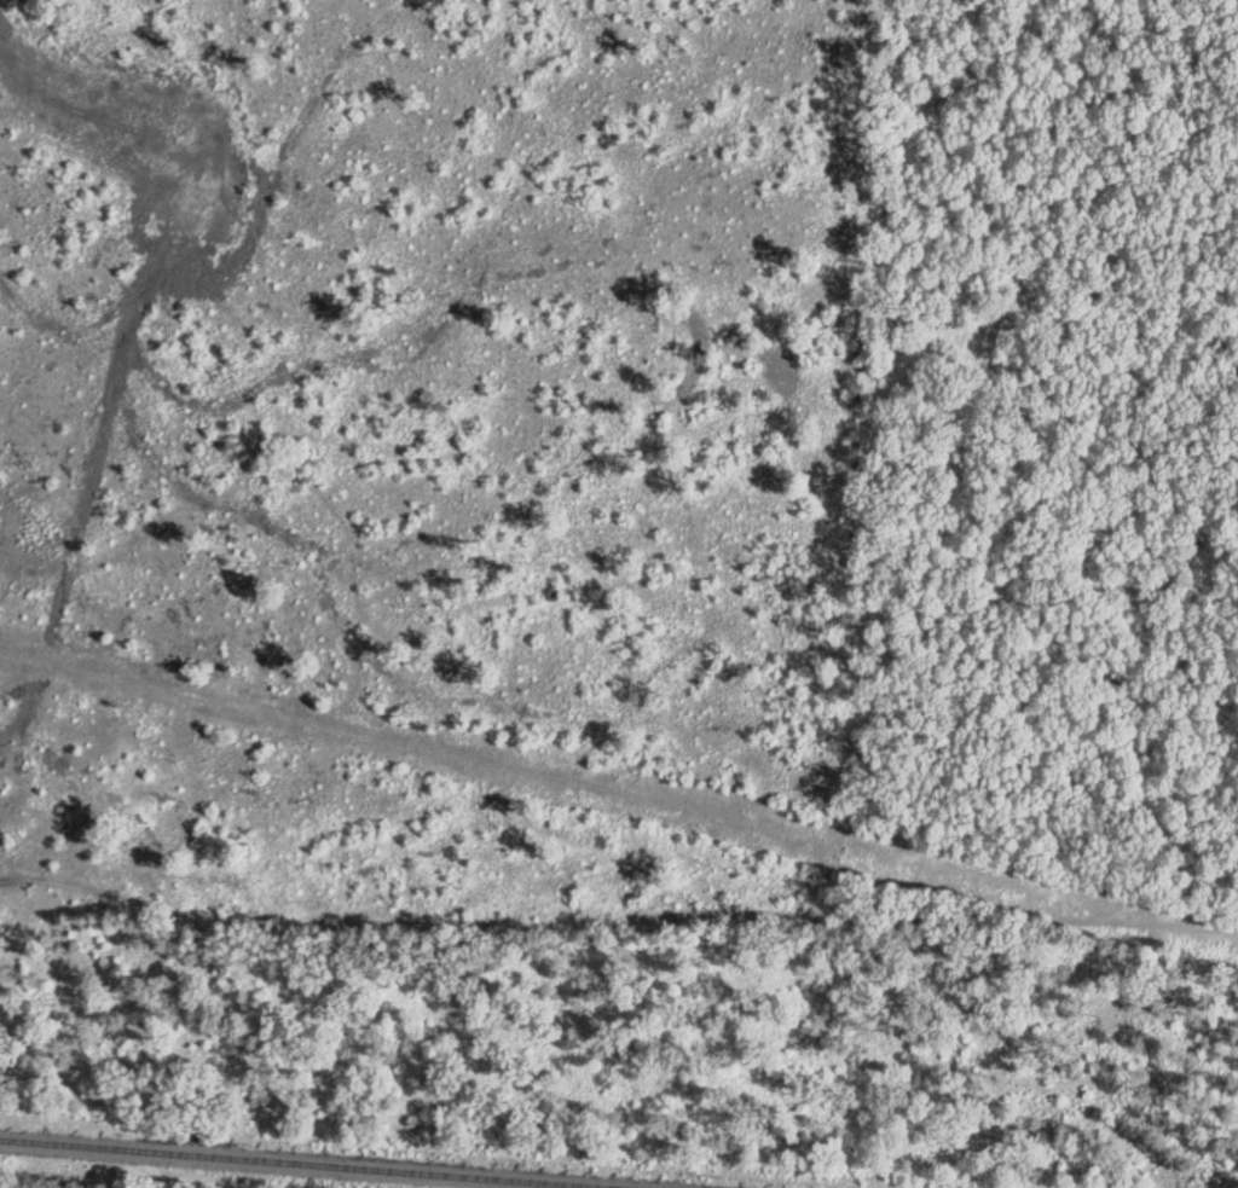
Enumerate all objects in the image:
road: (608, 917)
railway: (283, 1164)

